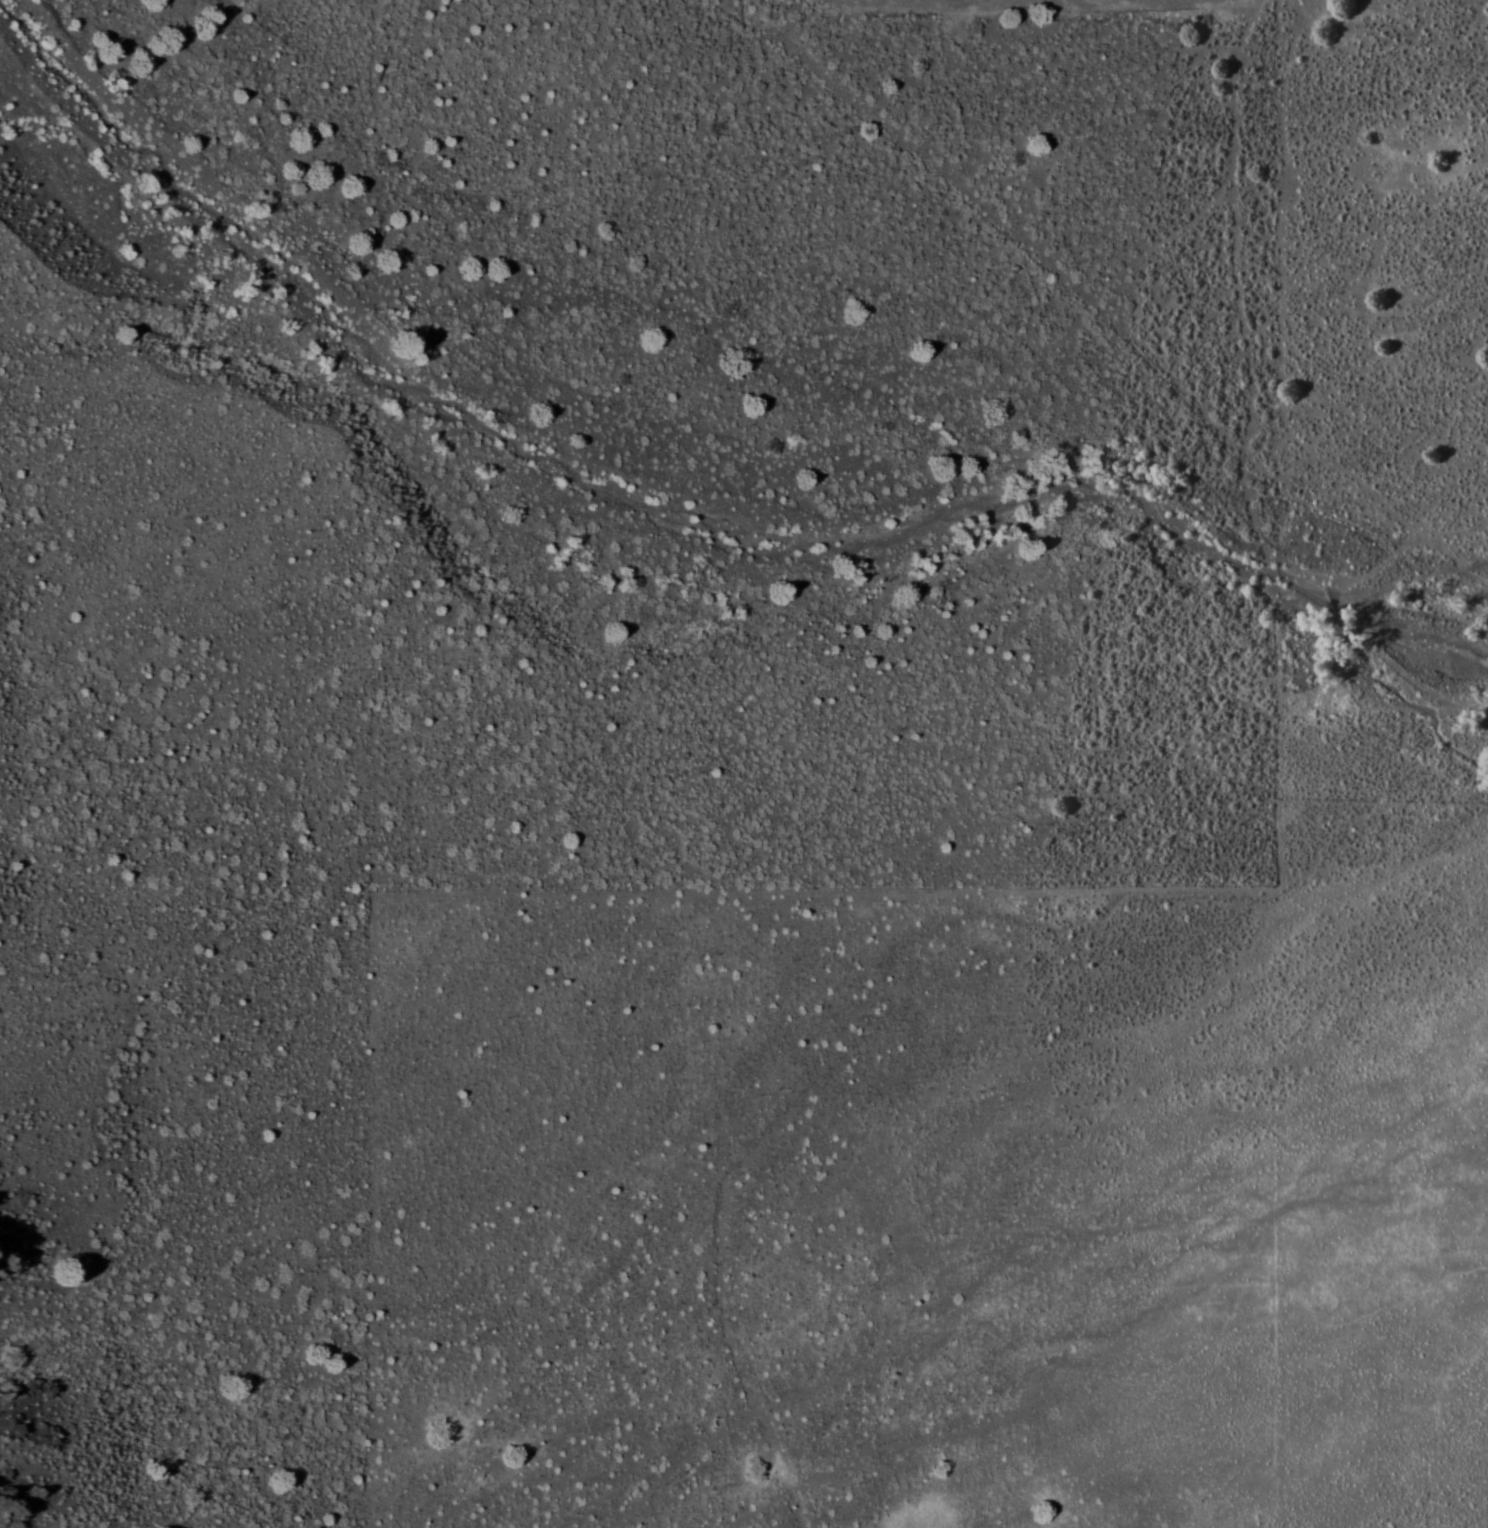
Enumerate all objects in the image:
road: (1215, 194)

